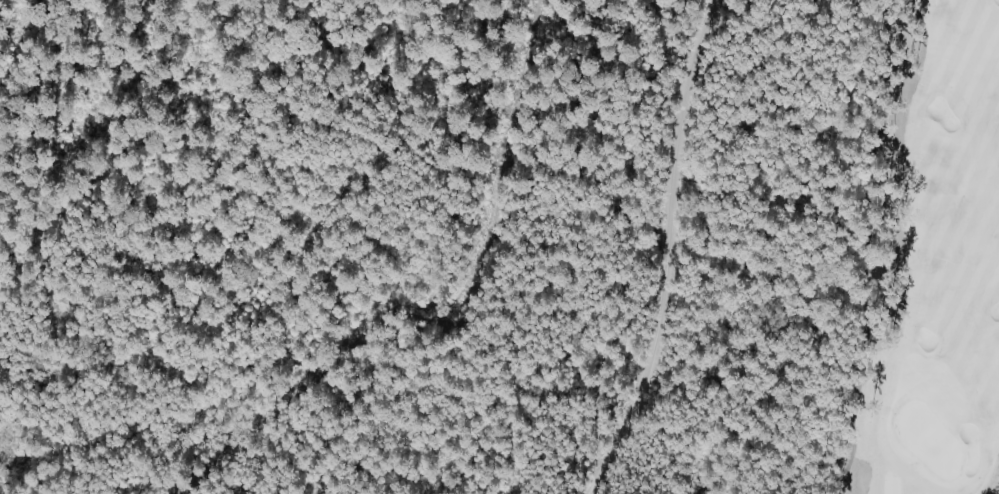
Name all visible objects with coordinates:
park: (872, 306)

